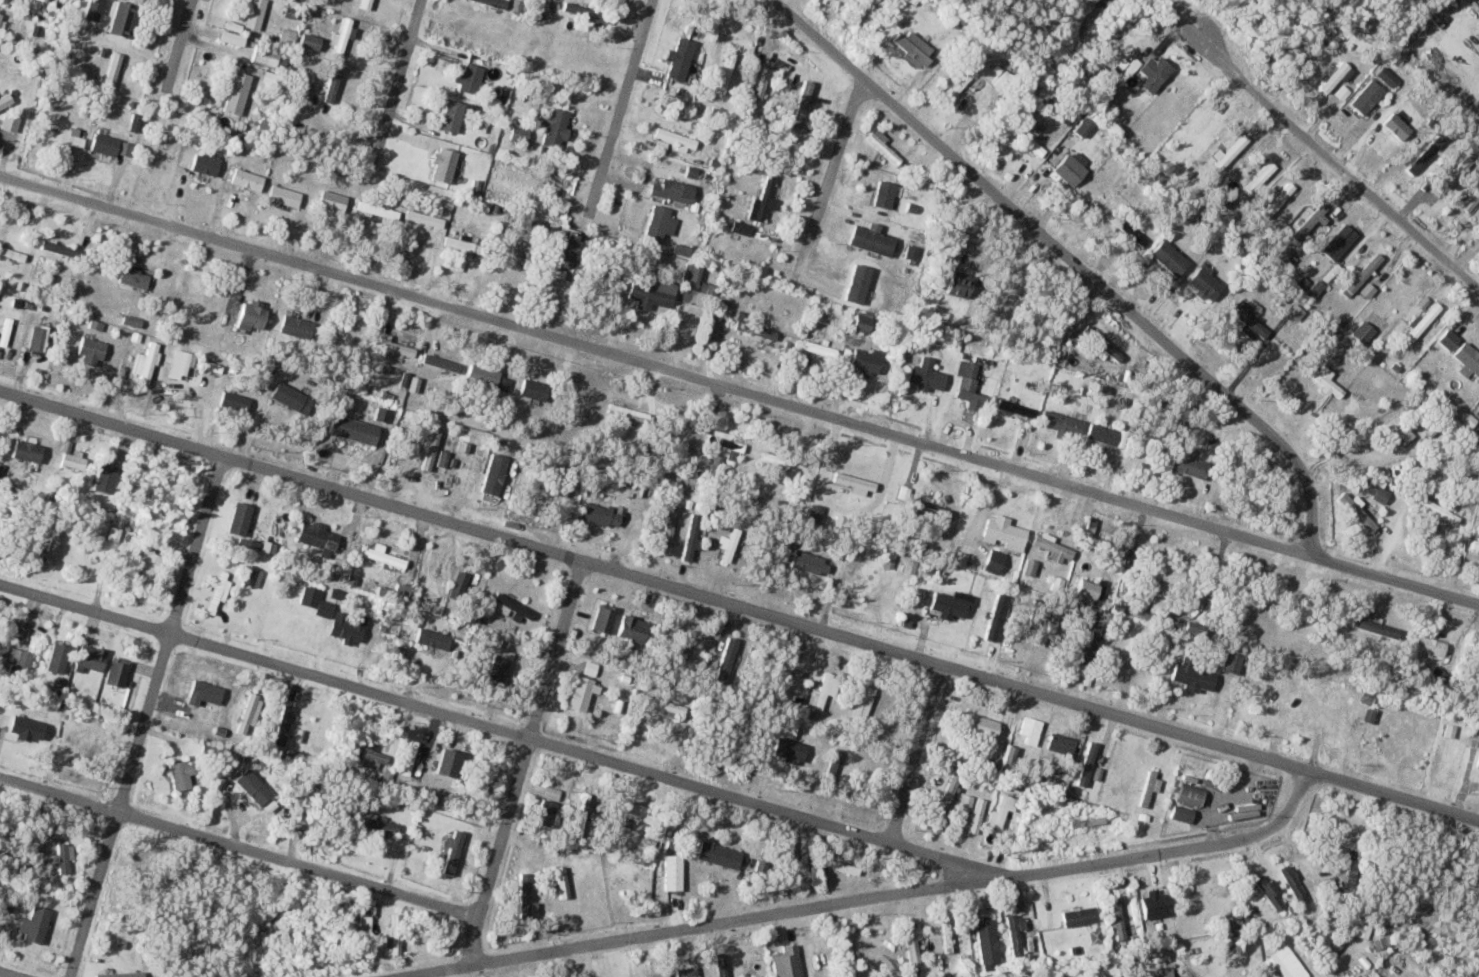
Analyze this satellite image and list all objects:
building: (256, 13)
building: (0, 16)
building: (288, 34)
building: (343, 35)
building: (233, 37)
road: (178, 40)
building: (311, 42)
building: (915, 47)
building: (270, 56)
building: (680, 58)
road: (400, 71)
building: (1155, 71)
building: (726, 72)
building: (273, 77)
building: (470, 77)
building: (1383, 78)
building: (761, 80)
building: (1005, 80)
building: (334, 82)
building: (1333, 82)
building: (958, 86)
building: (305, 88)
building: (237, 90)
building: (1363, 98)
building: (6, 99)
road: (623, 102)
building: (803, 102)
building: (209, 115)
building: (452, 115)
building: (1085, 125)
building: (557, 126)
building: (63, 135)
building: (521, 135)
building: (676, 136)
building: (1027, 140)
building: (112, 145)
building: (883, 145)
building: (1229, 151)
building: (1422, 156)
building: (162, 160)
road: (1329, 162)
building: (206, 163)
building: (445, 164)
building: (1069, 168)
road: (831, 171)
building: (1262, 175)
building: (1452, 176)
building: (248, 178)
building: (674, 189)
building: (887, 193)
building: (286, 195)
building: (765, 197)
building: (334, 199)
building: (1279, 199)
building: (1470, 200)
building: (379, 209)
building: (427, 217)
building: (1310, 221)
building: (660, 222)
building: (742, 227)
building: (1137, 235)
building: (873, 238)
building: (1340, 241)
building: (571, 245)
building: (59, 248)
building: (12, 253)
building: (1288, 256)
road: (1072, 261)
building: (1169, 262)
building: (546, 266)
building: (693, 272)
building: (1363, 274)
building: (136, 277)
building: (1207, 282)
building: (961, 283)
building: (708, 287)
building: (1317, 288)
building: (1369, 290)
building: (654, 292)
building: (23, 303)
building: (254, 315)
building: (1250, 319)
building: (133, 320)
building: (1424, 321)
building: (865, 322)
building: (298, 327)
building: (757, 329)
building: (6, 331)
building: (1364, 331)
building: (39, 337)
building: (1450, 338)
building: (1102, 343)
building: (394, 345)
building: (93, 347)
building: (1469, 355)
building: (867, 360)
building: (148, 363)
building: (442, 363)
building: (485, 374)
building: (927, 374)
building: (1327, 380)
building: (971, 385)
building: (536, 389)
road: (739, 390)
building: (236, 401)
building: (1017, 407)
building: (1062, 422)
building: (355, 428)
building: (1106, 433)
building: (34, 449)
building: (75, 460)
building: (775, 462)
building: (1191, 462)
building: (470, 468)
building: (497, 473)
building: (108, 476)
building: (1379, 490)
building: (928, 508)
building: (1358, 510)
building: (1438, 510)
building: (602, 514)
building: (241, 518)
building: (670, 525)
building: (1006, 530)
building: (320, 536)
building: (1476, 544)
building: (55, 546)
building: (1054, 548)
building: (383, 554)
building: (995, 560)
building: (810, 561)
building: (151, 563)
building: (911, 566)
building: (1032, 566)
building: (1170, 569)
building: (433, 574)
building: (253, 576)
building: (461, 579)
building: (1090, 588)
building: (403, 591)
building: (219, 593)
building: (311, 596)
building: (1161, 604)
building: (957, 605)
road: (739, 607)
building: (514, 609)
building: (606, 617)
building: (1197, 627)
building: (343, 628)
building: (635, 628)
building: (1383, 628)
building: (434, 638)
building: (1089, 643)
building: (1431, 644)
building: (52, 655)
building: (19, 657)
building: (93, 657)
building: (1123, 657)
building: (727, 659)
building: (1233, 662)
building: (501, 667)
building: (119, 671)
building: (1195, 675)
building: (825, 690)
building: (583, 692)
building: (865, 702)
building: (667, 705)
building: (43, 713)
building: (250, 713)
road: (143, 716)
building: (984, 722)
road: (501, 729)
building: (1032, 729)
building: (1063, 743)
building: (791, 749)
road: (914, 753)
building: (411, 757)
building: (835, 762)
road: (521, 763)
building: (1089, 763)
building: (1478, 764)
building: (183, 774)
building: (1150, 788)
building: (949, 793)
building: (968, 800)
building: (1188, 802)
building: (549, 805)
building: (1004, 809)
building: (638, 810)
building: (582, 815)
building: (978, 815)
building: (1089, 821)
building: (436, 824)
building: (378, 825)
road: (240, 847)
building: (720, 853)
building: (65, 856)
building: (455, 857)
building: (674, 872)
building: (1352, 876)
building: (564, 881)
building: (1294, 882)
building: (528, 884)
building: (630, 886)
building: (1272, 891)
road: (872, 897)
building: (1215, 901)
building: (1118, 917)
building: (1231, 918)
building: (38, 924)
building: (1364, 930)
building: (1017, 932)
building: (397, 933)
building: (949, 935)
building: (913, 936)
building: (1331, 941)
building: (1384, 941)
building: (989, 942)
building: (882, 948)
building: (849, 953)
building: (788, 961)
building: (723, 964)
building: (1285, 964)
building: (686, 972)
building: (121, 974)
building: (615, 975)
road: (3, 976)
building: (1181, 976)

